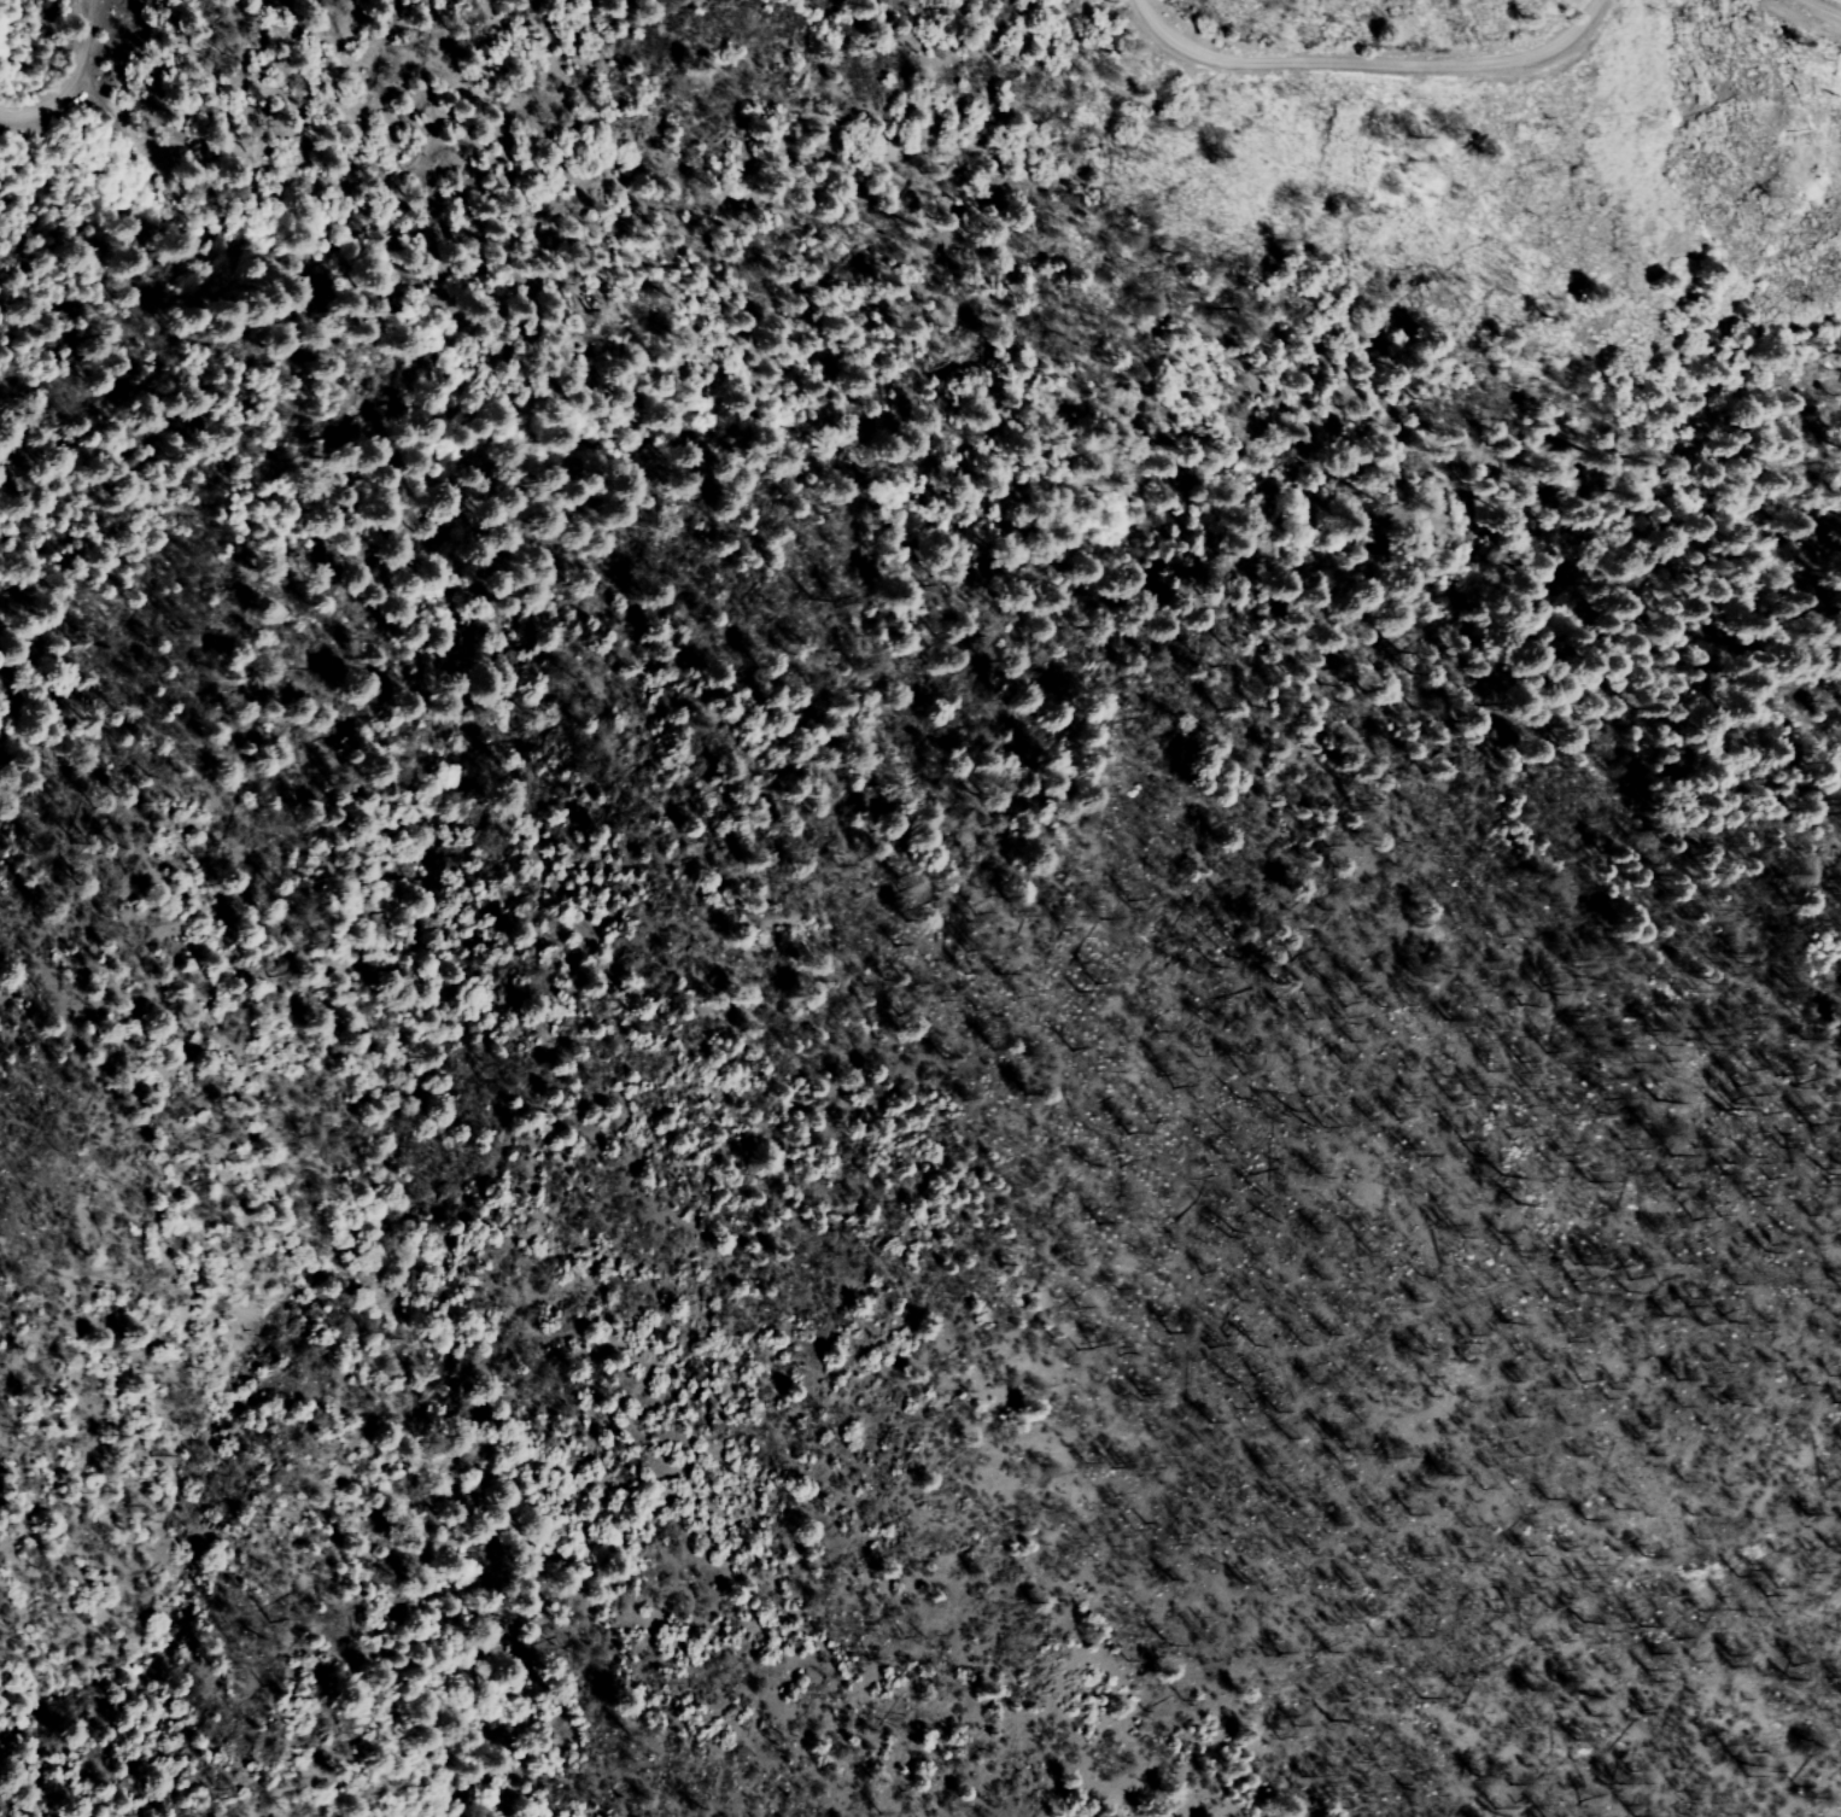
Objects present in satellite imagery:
road: (1372, 58)
road: (80, 77)

